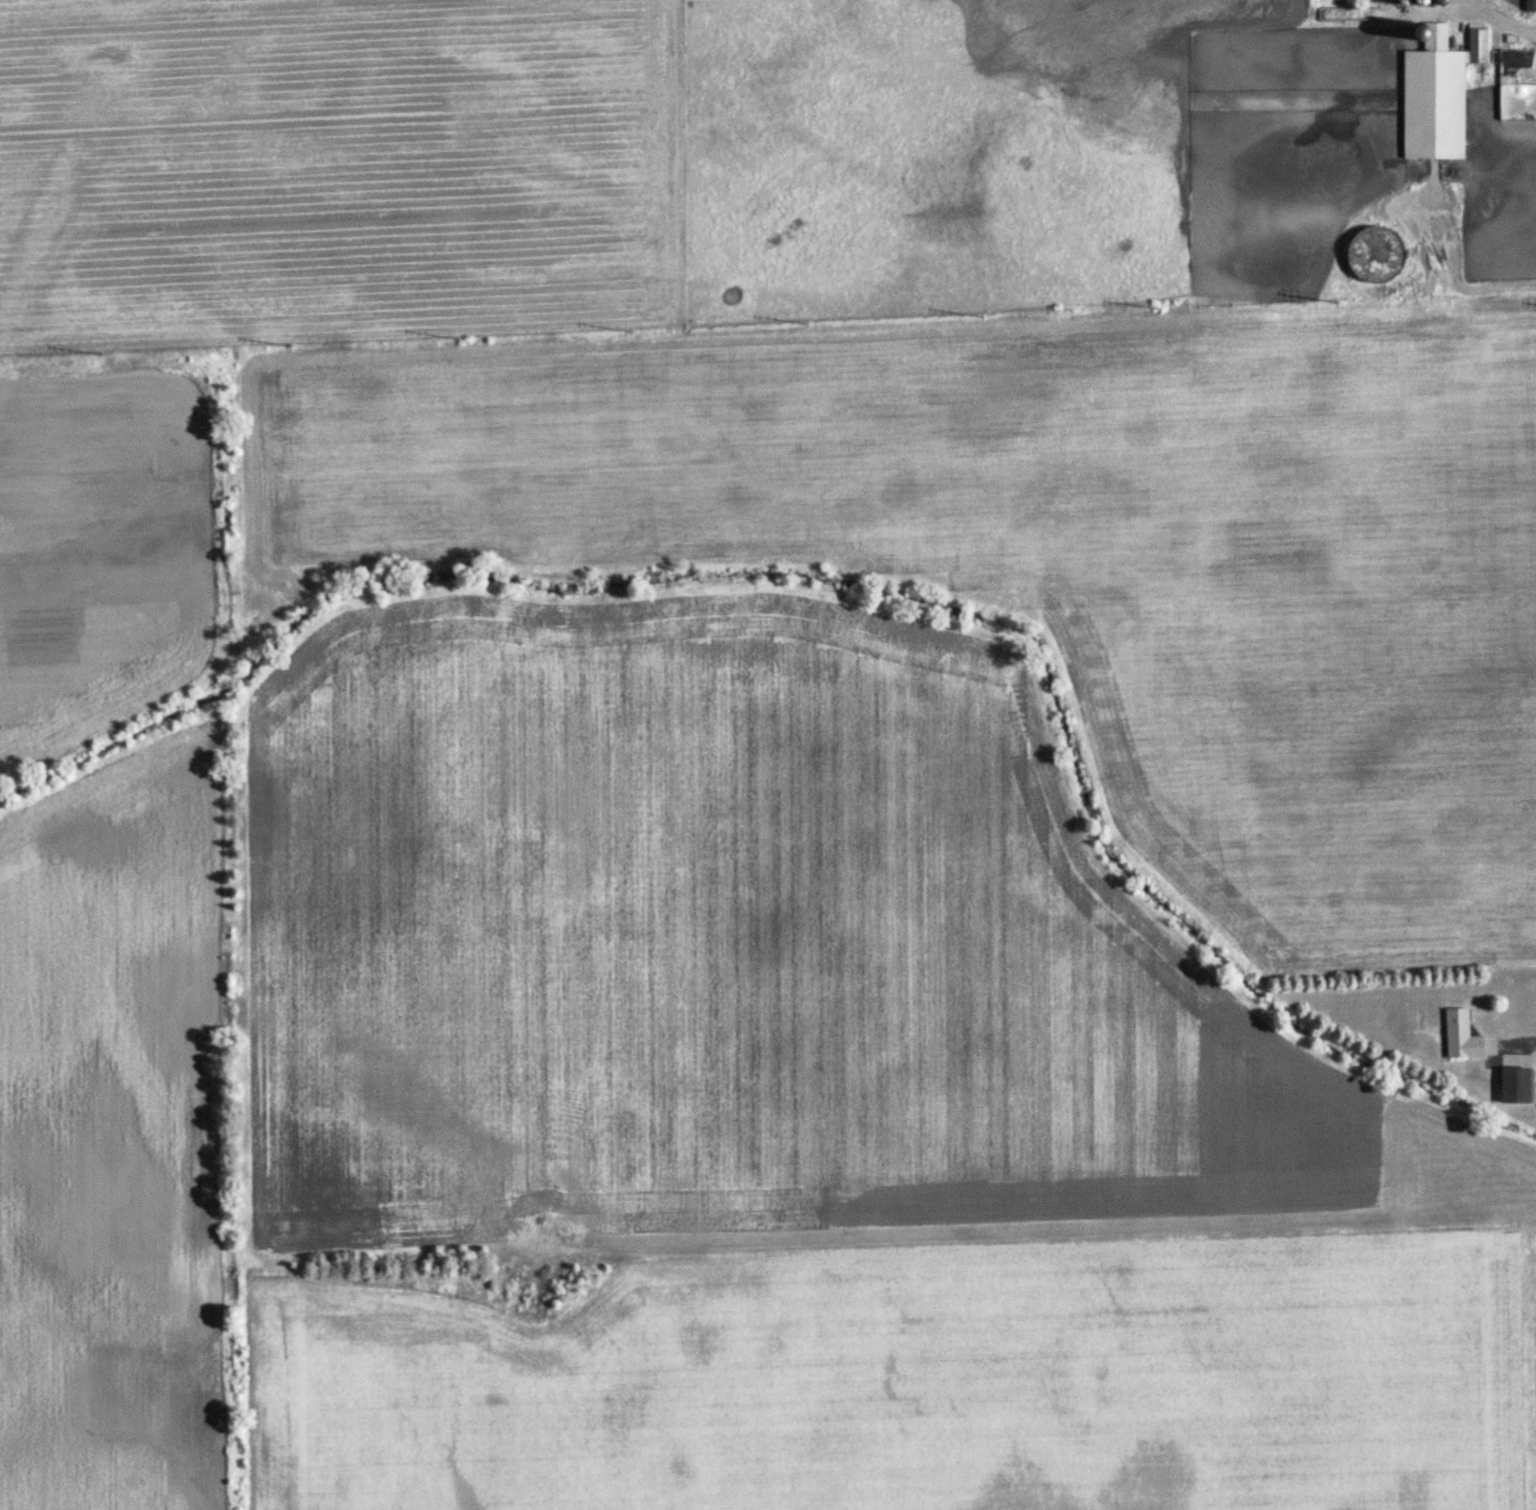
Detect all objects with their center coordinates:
building: (1530, 6)
road: (1502, 20)
building: (1437, 96)
building: (1459, 1036)
building: (1513, 1086)

